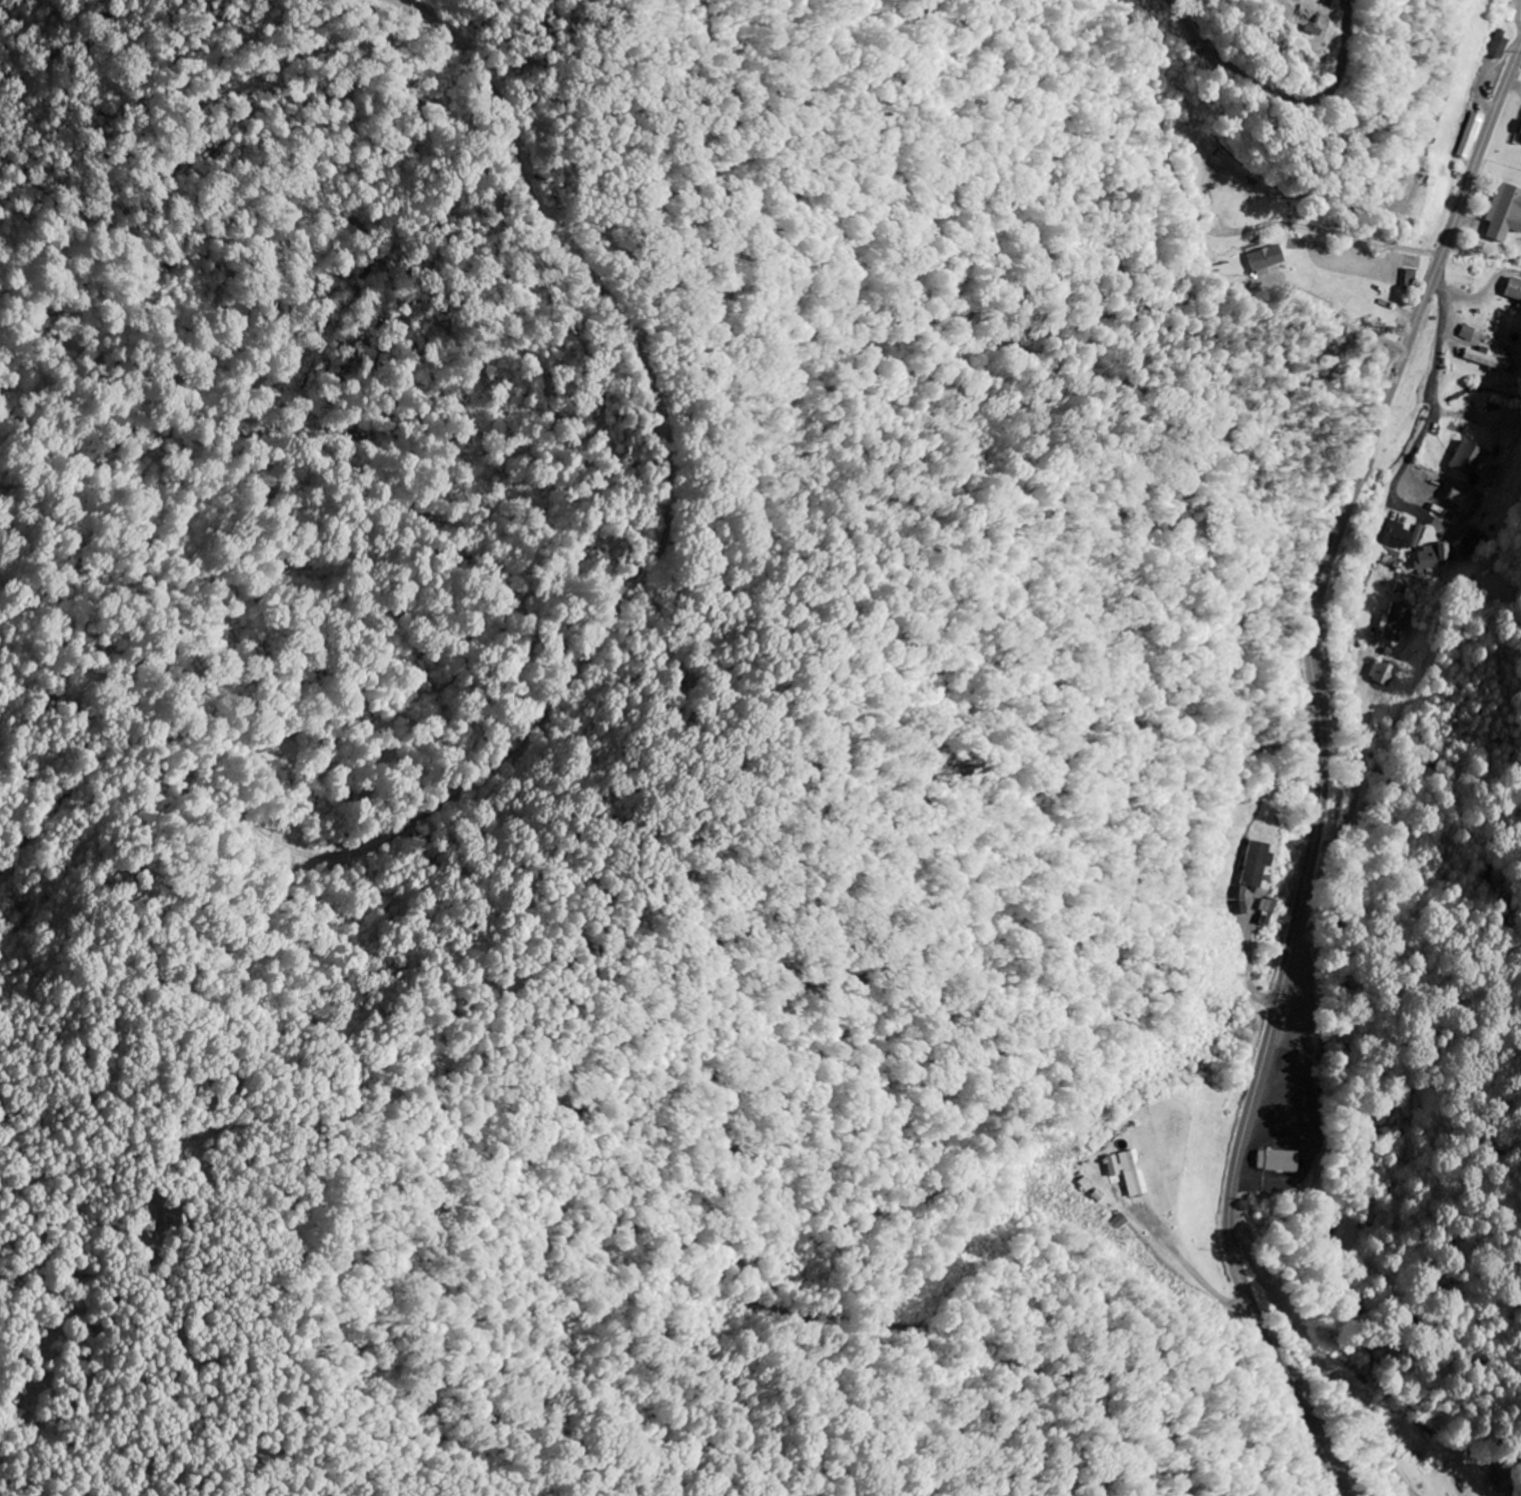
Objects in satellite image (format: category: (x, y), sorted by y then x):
building: (1510, 16)
building: (1501, 47)
building: (1474, 137)
building: (1506, 214)
building: (1268, 260)
building: (1515, 290)
building: (1469, 334)
building: (1490, 361)
road: (1437, 397)
building: (1468, 459)
building: (1465, 503)
building: (1395, 535)
building: (1418, 536)
building: (1470, 545)
building: (1434, 558)
building: (1396, 623)
building: (1384, 673)
road: (1322, 773)
road: (1352, 808)
building: (1259, 864)
building: (1281, 1162)
building: (1130, 1172)
building: (1122, 1222)
road: (1318, 1354)

